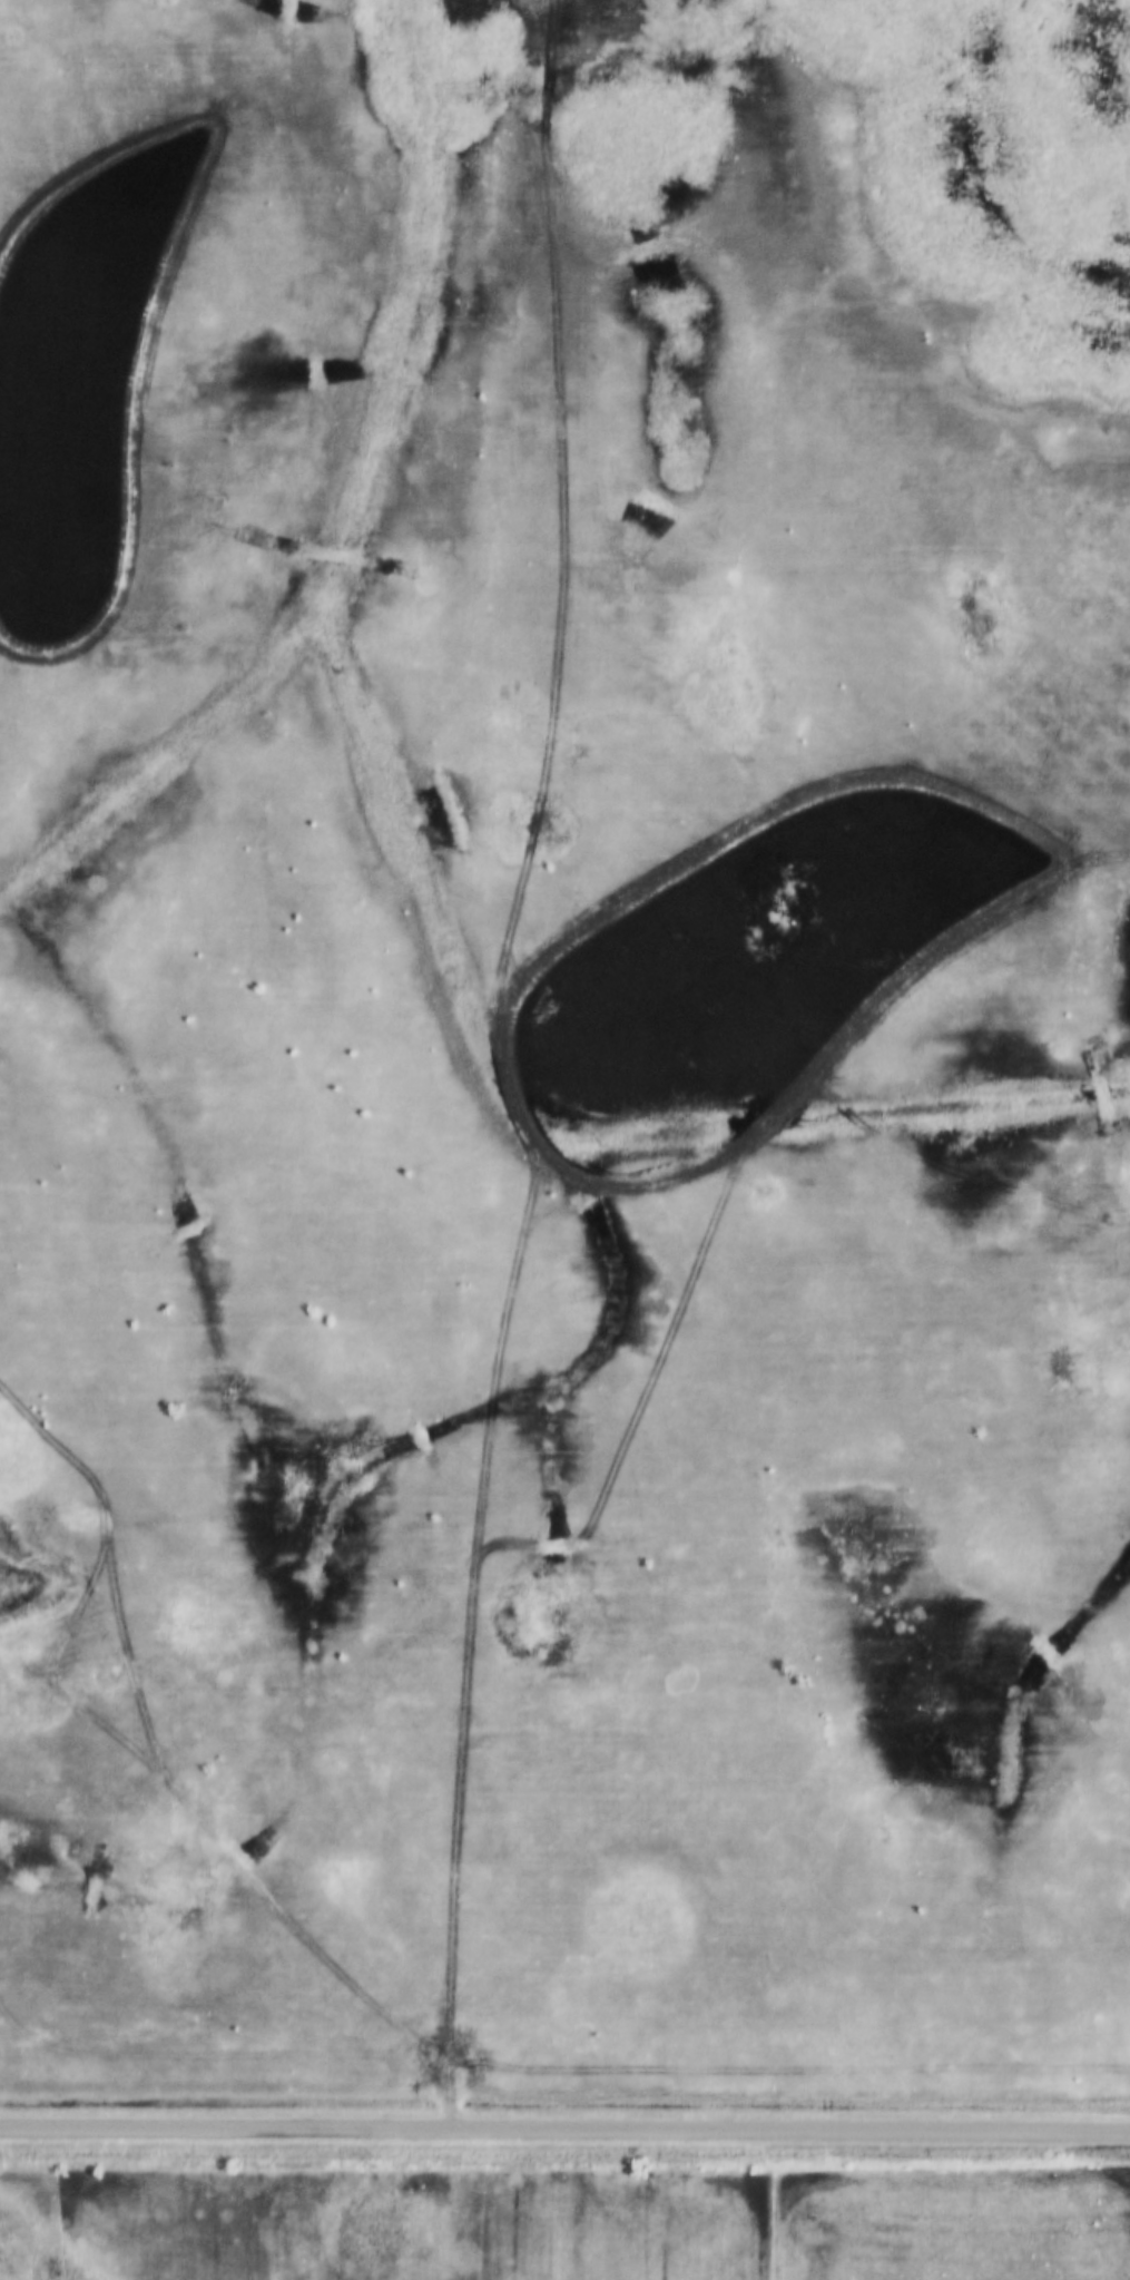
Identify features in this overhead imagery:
road: (564, 2130)

